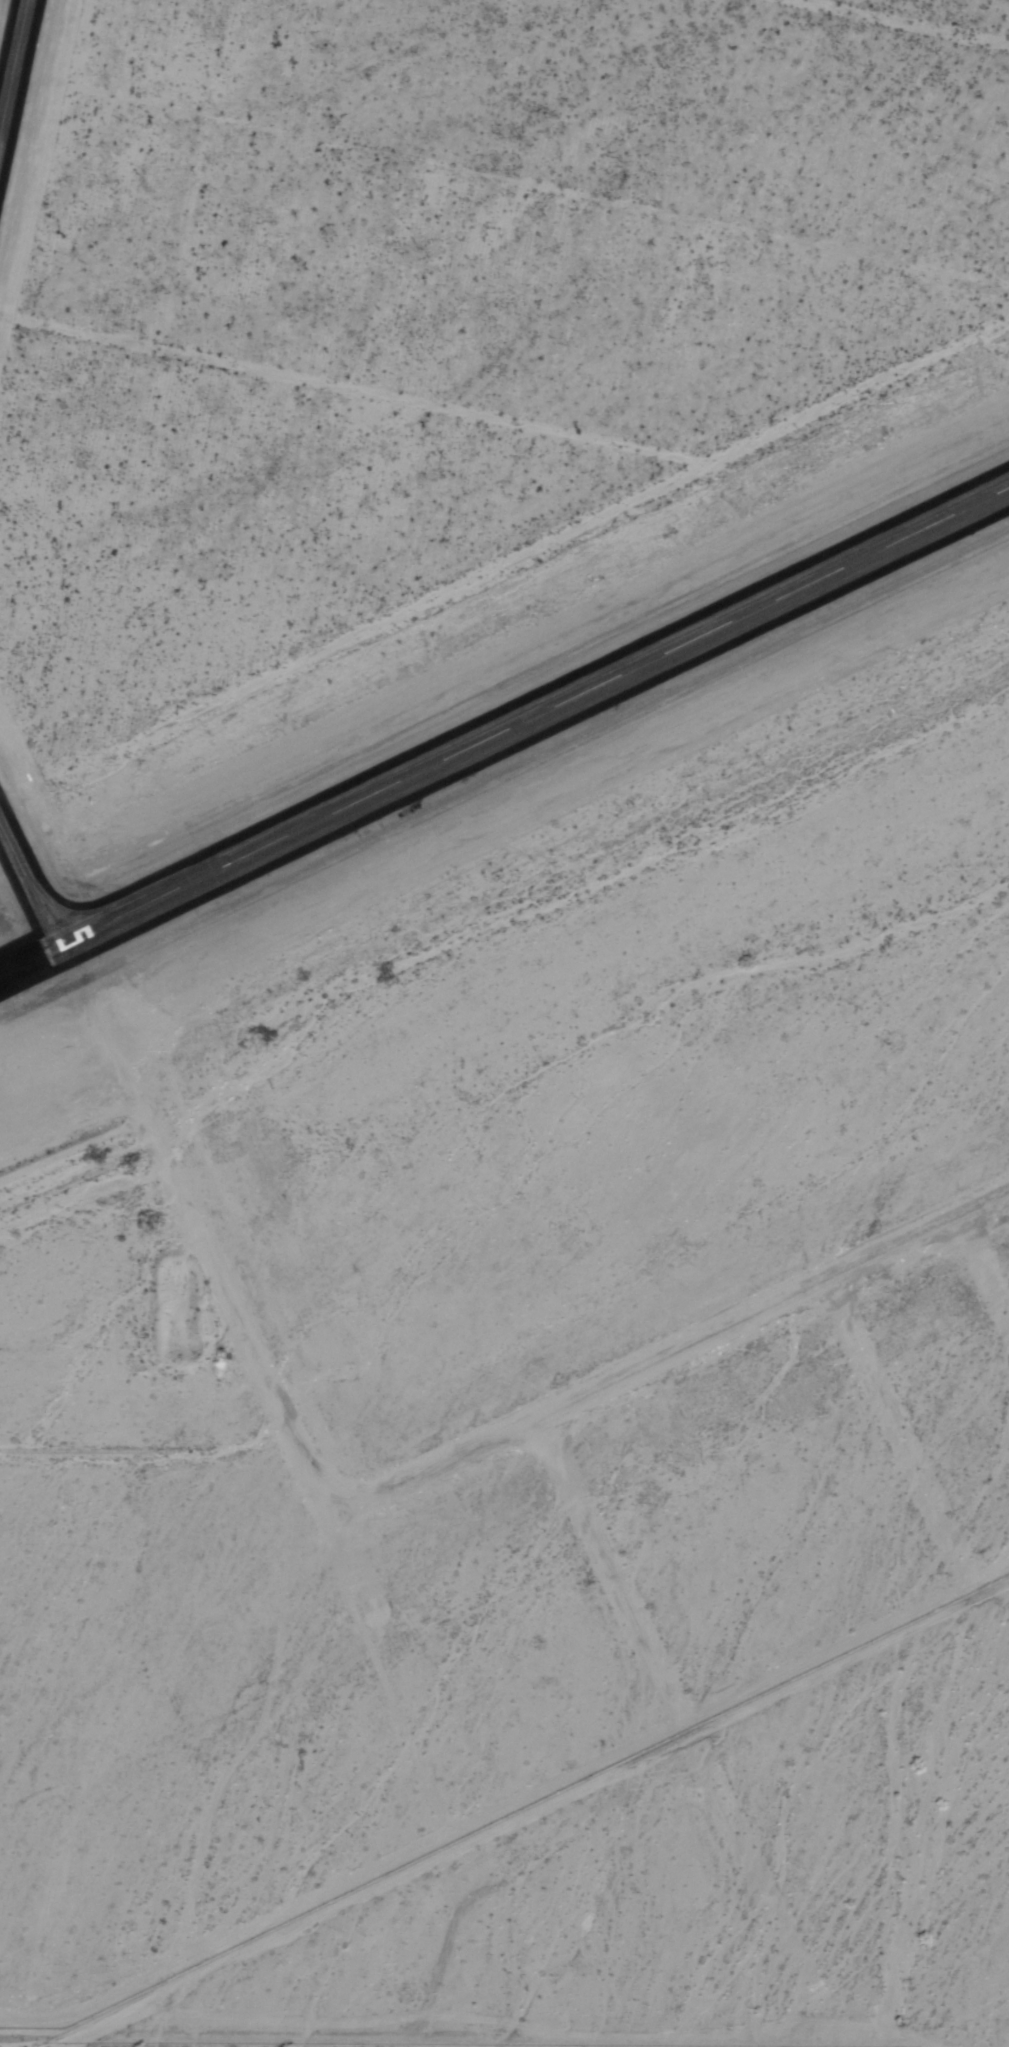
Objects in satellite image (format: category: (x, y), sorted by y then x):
airport taxiway: (14, 68)
airport: (18, 89)
airport runway: (520, 721)
airport: (501, 745)
airport taxiway: (33, 891)
airport runway: (16, 964)
crop: (968, 1824)

